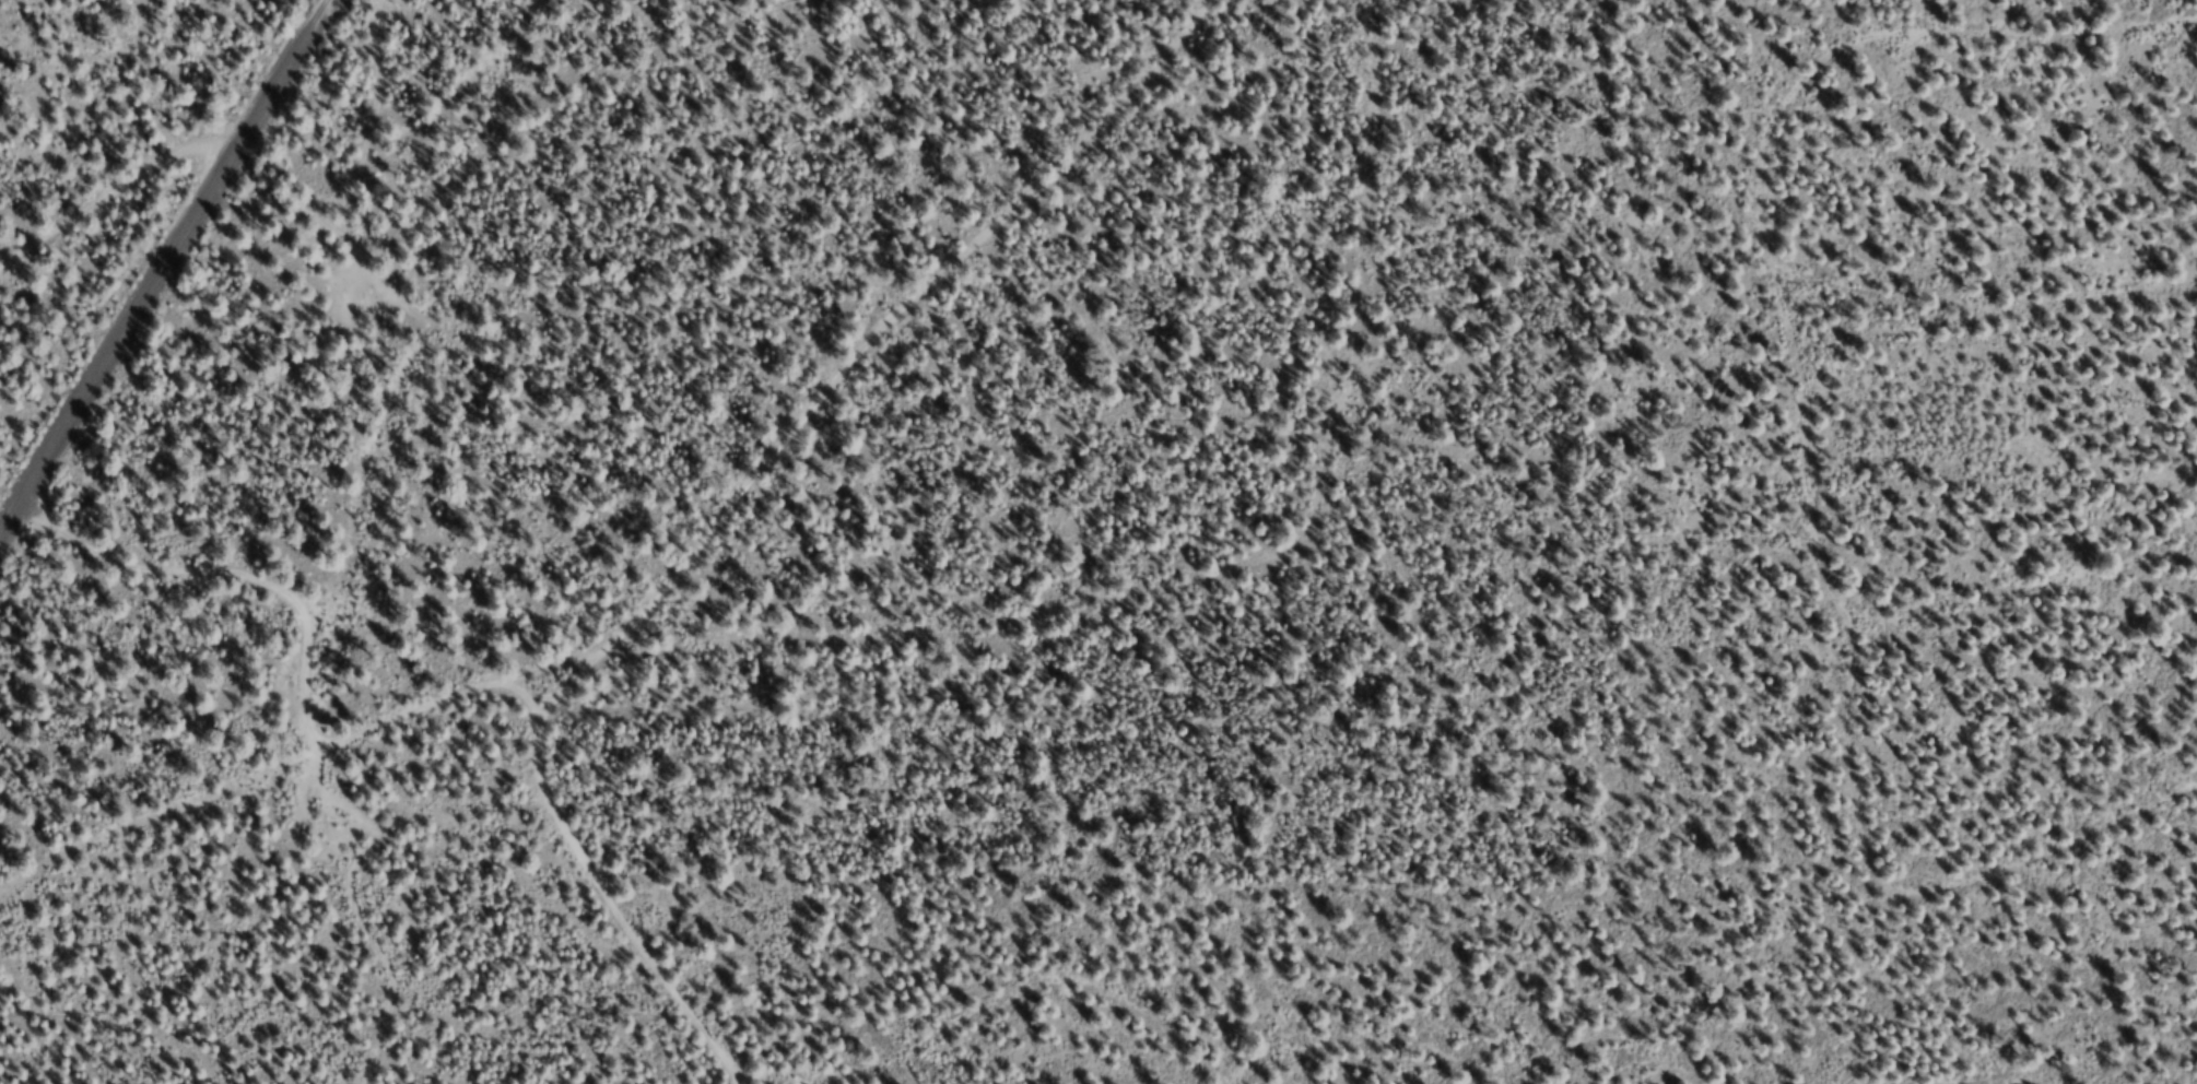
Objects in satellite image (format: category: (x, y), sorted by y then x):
road: (115, 197)
road: (163, 268)
road: (1838, 305)
road: (424, 319)
road: (2032, 319)
road: (858, 352)
road: (308, 719)
road: (314, 755)
road: (1955, 861)
road: (606, 892)
road: (1012, 1020)
road: (1393, 1047)
road: (1612, 1057)

